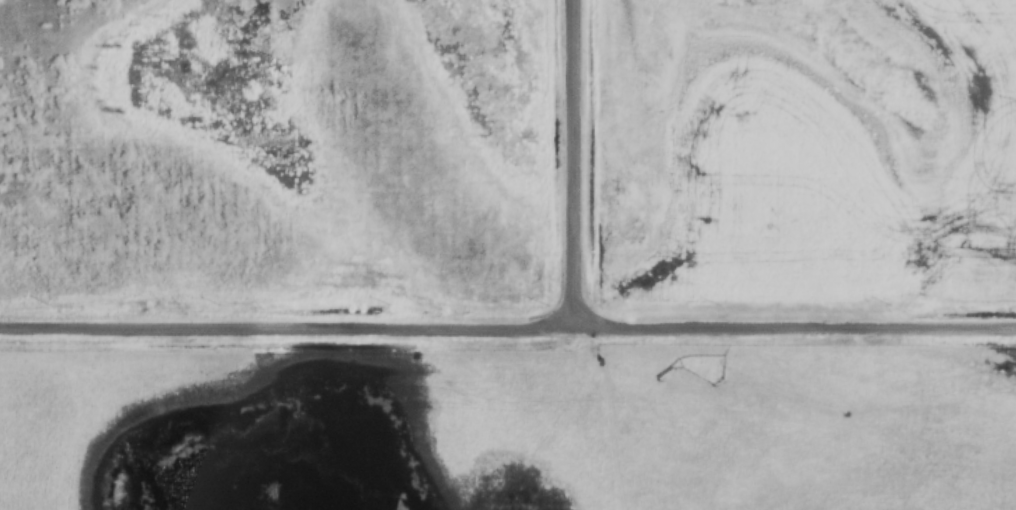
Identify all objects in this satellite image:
road: (576, 166)
road: (508, 331)

